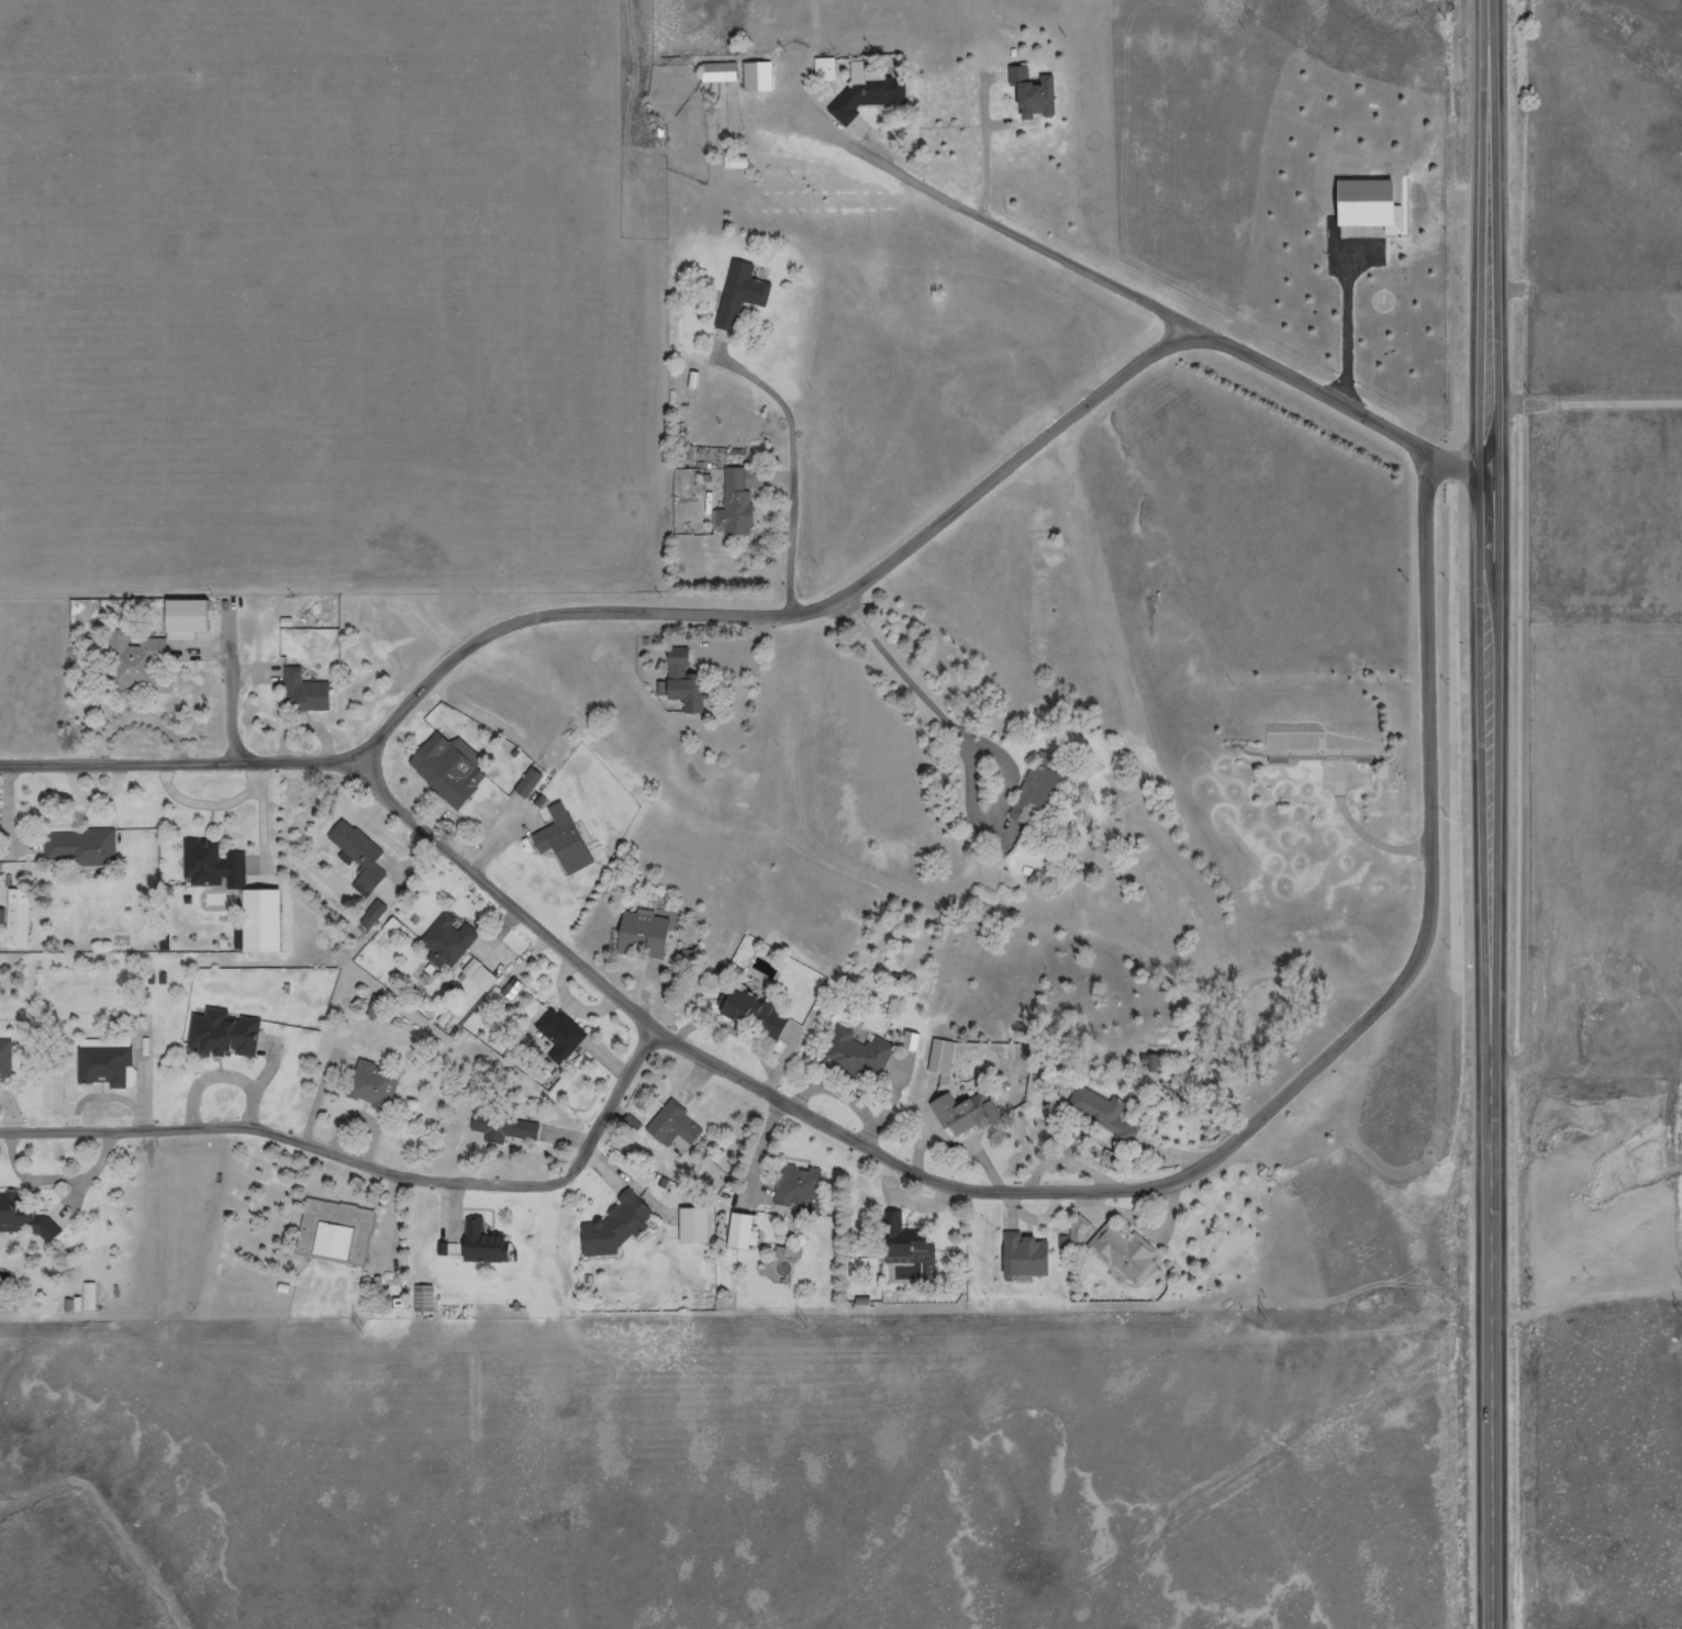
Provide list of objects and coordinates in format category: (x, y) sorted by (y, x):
building: (824, 70)
building: (717, 71)
building: (756, 77)
building: (868, 91)
building: (1034, 93)
building: (735, 161)
building: (1367, 207)
building: (738, 295)
road: (1149, 300)
road: (1585, 403)
road: (799, 465)
building: (737, 500)
road: (792, 613)
building: (189, 614)
building: (134, 661)
building: (682, 682)
road: (236, 692)
building: (301, 692)
building: (1310, 741)
road: (983, 745)
building: (446, 769)
building: (526, 784)
building: (1036, 790)
road: (1490, 814)
building: (561, 840)
building: (82, 847)
building: (360, 857)
building: (213, 864)
building: (372, 915)
building: (16, 917)
building: (259, 921)
building: (642, 934)
building: (447, 939)
building: (479, 975)
building: (751, 1014)
building: (221, 1034)
building: (561, 1035)
building: (909, 1042)
building: (939, 1056)
building: (855, 1057)
building: (5, 1060)
building: (103, 1064)
building: (371, 1083)
building: (963, 1112)
building: (1106, 1114)
building: (672, 1123)
building: (504, 1126)
road: (367, 1164)
road: (938, 1181)
building: (797, 1186)
building: (23, 1217)
building: (616, 1225)
building: (693, 1225)
building: (334, 1231)
building: (740, 1231)
building: (906, 1243)
building: (481, 1246)
building: (1124, 1252)
building: (1024, 1256)
building: (422, 1298)

